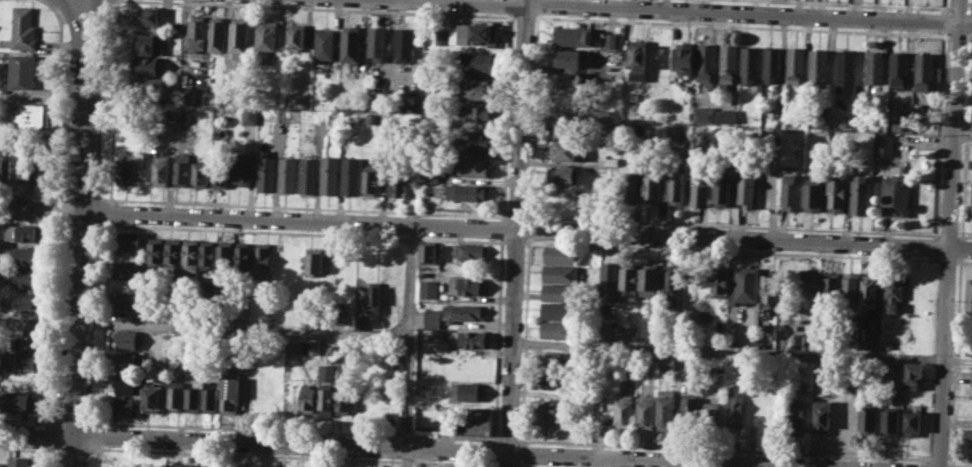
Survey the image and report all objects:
road: (855, 4)
road: (536, 5)
road: (511, 6)
road: (943, 6)
road: (970, 6)
road: (328, 8)
road: (957, 8)
road: (969, 9)
road: (713, 11)
building: (147, 15)
road: (524, 16)
road: (943, 21)
road: (969, 22)
road: (739, 26)
building: (22, 30)
building: (474, 32)
building: (198, 34)
building: (218, 34)
building: (440, 35)
building: (572, 35)
road: (956, 35)
building: (297, 36)
road: (968, 36)
building: (239, 37)
building: (267, 37)
building: (611, 40)
building: (147, 43)
building: (324, 43)
building: (350, 43)
building: (376, 43)
building: (404, 43)
building: (570, 58)
building: (635, 58)
building: (683, 61)
building: (477, 62)
building: (612, 63)
building: (705, 63)
building: (749, 64)
building: (771, 64)
building: (146, 65)
building: (794, 65)
building: (727, 66)
building: (898, 66)
building: (818, 67)
building: (874, 67)
building: (21, 71)
building: (845, 71)
building: (923, 71)
building: (569, 81)
building: (148, 86)
building: (478, 89)
building: (186, 94)
road: (41, 95)
road: (57, 95)
road: (113, 101)
building: (570, 105)
building: (478, 113)
building: (702, 113)
building: (250, 115)
road: (532, 115)
building: (35, 116)
road: (506, 116)
building: (725, 116)
building: (821, 120)
building: (348, 126)
building: (568, 128)
road: (938, 134)
road: (965, 135)
road: (962, 136)
building: (482, 141)
building: (883, 144)
building: (568, 150)
building: (970, 162)
building: (5, 165)
building: (130, 166)
building: (472, 166)
building: (25, 167)
building: (43, 169)
building: (181, 169)
building: (241, 169)
building: (160, 170)
building: (265, 171)
building: (201, 173)
building: (220, 173)
building: (288, 174)
building: (329, 174)
building: (308, 175)
building: (563, 175)
building: (351, 176)
building: (428, 176)
building: (369, 182)
building: (397, 183)
building: (651, 186)
building: (788, 186)
building: (628, 187)
building: (676, 188)
building: (721, 188)
building: (699, 189)
building: (747, 189)
building: (473, 191)
building: (858, 192)
road: (30, 194)
building: (836, 194)
building: (895, 194)
building: (812, 195)
road: (81, 196)
road: (303, 206)
building: (971, 206)
road: (52, 208)
road: (109, 211)
road: (515, 216)
road: (28, 221)
road: (77, 223)
road: (731, 225)
road: (485, 227)
road: (529, 227)
road: (501, 228)
building: (21, 233)
road: (79, 233)
road: (300, 233)
road: (517, 233)
road: (949, 233)
road: (947, 234)
road: (963, 236)
building: (130, 240)
road: (513, 241)
road: (933, 246)
road: (960, 247)
building: (155, 250)
building: (173, 250)
building: (471, 250)
road: (730, 250)
building: (192, 252)
building: (428, 252)
building: (209, 253)
building: (226, 253)
building: (243, 254)
building: (561, 254)
building: (28, 255)
road: (933, 257)
road: (946, 259)
building: (262, 260)
building: (314, 261)
road: (963, 261)
building: (128, 268)
building: (561, 273)
building: (28, 277)
building: (608, 281)
building: (628, 281)
building: (648, 281)
building: (719, 282)
building: (469, 285)
building: (671, 285)
building: (745, 285)
building: (809, 287)
building: (832, 287)
building: (851, 287)
building: (429, 288)
building: (769, 288)
building: (869, 290)
building: (893, 291)
building: (561, 292)
building: (969, 294)
building: (371, 296)
building: (24, 298)
building: (123, 300)
building: (558, 310)
building: (463, 312)
building: (432, 318)
road: (38, 319)
road: (46, 320)
road: (103, 322)
road: (244, 327)
building: (557, 329)
building: (626, 331)
building: (33, 337)
building: (125, 338)
building: (475, 339)
road: (496, 340)
road: (525, 340)
building: (799, 340)
road: (410, 345)
building: (313, 346)
building: (966, 346)
building: (292, 348)
road: (742, 351)
road: (954, 360)
building: (20, 361)
building: (125, 361)
building: (550, 361)
building: (667, 362)
building: (886, 372)
building: (152, 373)
building: (913, 374)
building: (971, 376)
building: (550, 381)
building: (126, 384)
building: (422, 384)
building: (466, 391)
building: (229, 392)
building: (175, 395)
building: (192, 395)
building: (210, 395)
building: (307, 398)
building: (150, 399)
building: (326, 400)
building: (343, 400)
building: (19, 401)
building: (124, 406)
building: (735, 406)
building: (602, 407)
building: (625, 409)
building: (666, 409)
building: (689, 409)
building: (546, 411)
building: (646, 411)
building: (710, 415)
building: (795, 415)
building: (822, 416)
road: (26, 418)
road: (72, 419)
building: (868, 420)
building: (890, 420)
building: (476, 421)
building: (912, 423)
road: (294, 429)
road: (42, 432)
road: (99, 435)
building: (967, 436)
road: (507, 439)
road: (23, 445)
road: (69, 446)
road: (97, 448)
road: (722, 448)
road: (413, 449)
road: (492, 451)
road: (520, 452)
road: (41, 454)
road: (288, 455)
road: (937, 457)
road: (958, 458)
building: (19, 462)
road: (492, 463)
building: (1, 464)
road: (505, 464)
road: (519, 464)
building: (174, 465)
building: (197, 465)
road: (950, 465)
building: (451, 466)
road: (531, 466)

